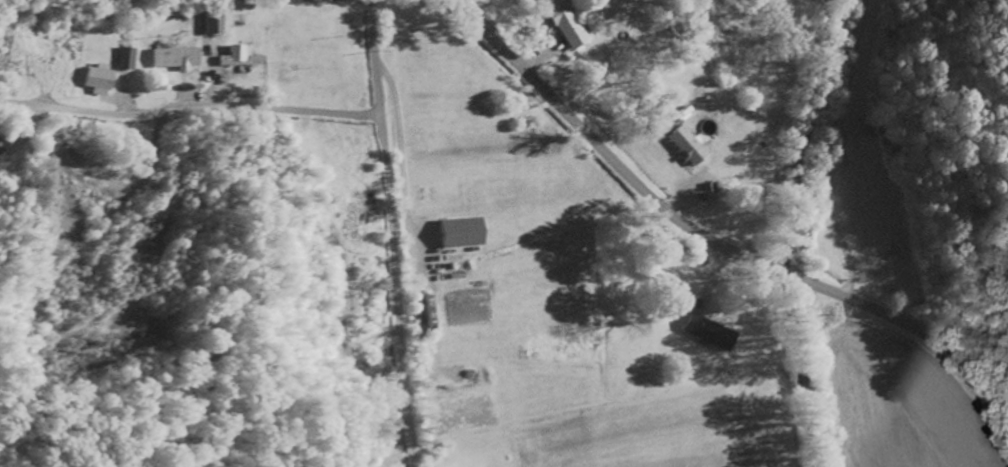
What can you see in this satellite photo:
building: (568, 23)
building: (217, 24)
building: (242, 57)
building: (130, 58)
building: (180, 58)
building: (104, 79)
road: (191, 110)
building: (691, 145)
building: (4, 146)
road: (832, 149)
road: (605, 150)
building: (466, 232)
road: (396, 233)
road: (790, 275)
building: (430, 313)
road: (921, 330)
building: (712, 332)

